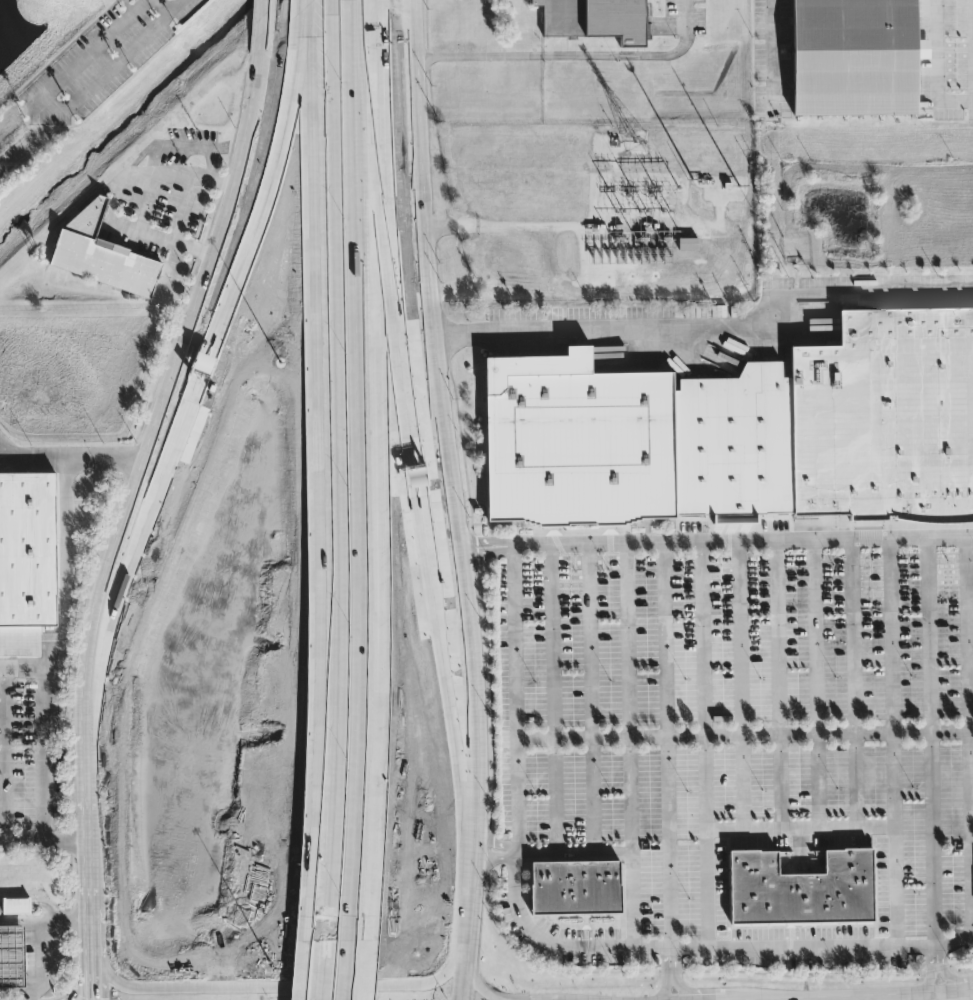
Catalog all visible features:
road: (167, 5)
building: (595, 18)
road: (269, 21)
road: (89, 52)
road: (569, 54)
road: (772, 54)
building: (853, 56)
road: (114, 66)
road: (937, 69)
road: (300, 118)
road: (379, 198)
road: (149, 202)
power substation: (606, 208)
road: (520, 231)
building: (688, 242)
building: (103, 250)
road: (247, 281)
toll booth: (248, 281)
road: (568, 286)
road: (707, 328)
building: (885, 414)
road: (173, 438)
building: (575, 440)
building: (732, 442)
building: (407, 460)
road: (73, 461)
toll booth: (407, 462)
road: (331, 465)
road: (357, 470)
road: (411, 488)
road: (137, 492)
road: (452, 500)
road: (486, 538)
road: (744, 541)
road: (488, 551)
building: (25, 570)
road: (67, 594)
road: (451, 715)
road: (743, 733)
road: (932, 741)
road: (666, 744)
parking lot: (735, 754)
road: (44, 757)
parking lot: (32, 763)
road: (491, 841)
road: (44, 845)
road: (493, 858)
building: (311, 859)
building: (575, 887)
building: (801, 888)
building: (15, 904)
road: (45, 918)
road: (537, 934)
road: (944, 942)
building: (11, 956)
road: (669, 956)
road: (39, 957)
road: (65, 957)
road: (319, 965)
road: (670, 967)
road: (342, 970)
road: (477, 977)
road: (91, 978)
road: (952, 980)
road: (928, 982)
road: (272, 985)
road: (18, 994)
road: (36, 997)
road: (922, 997)

